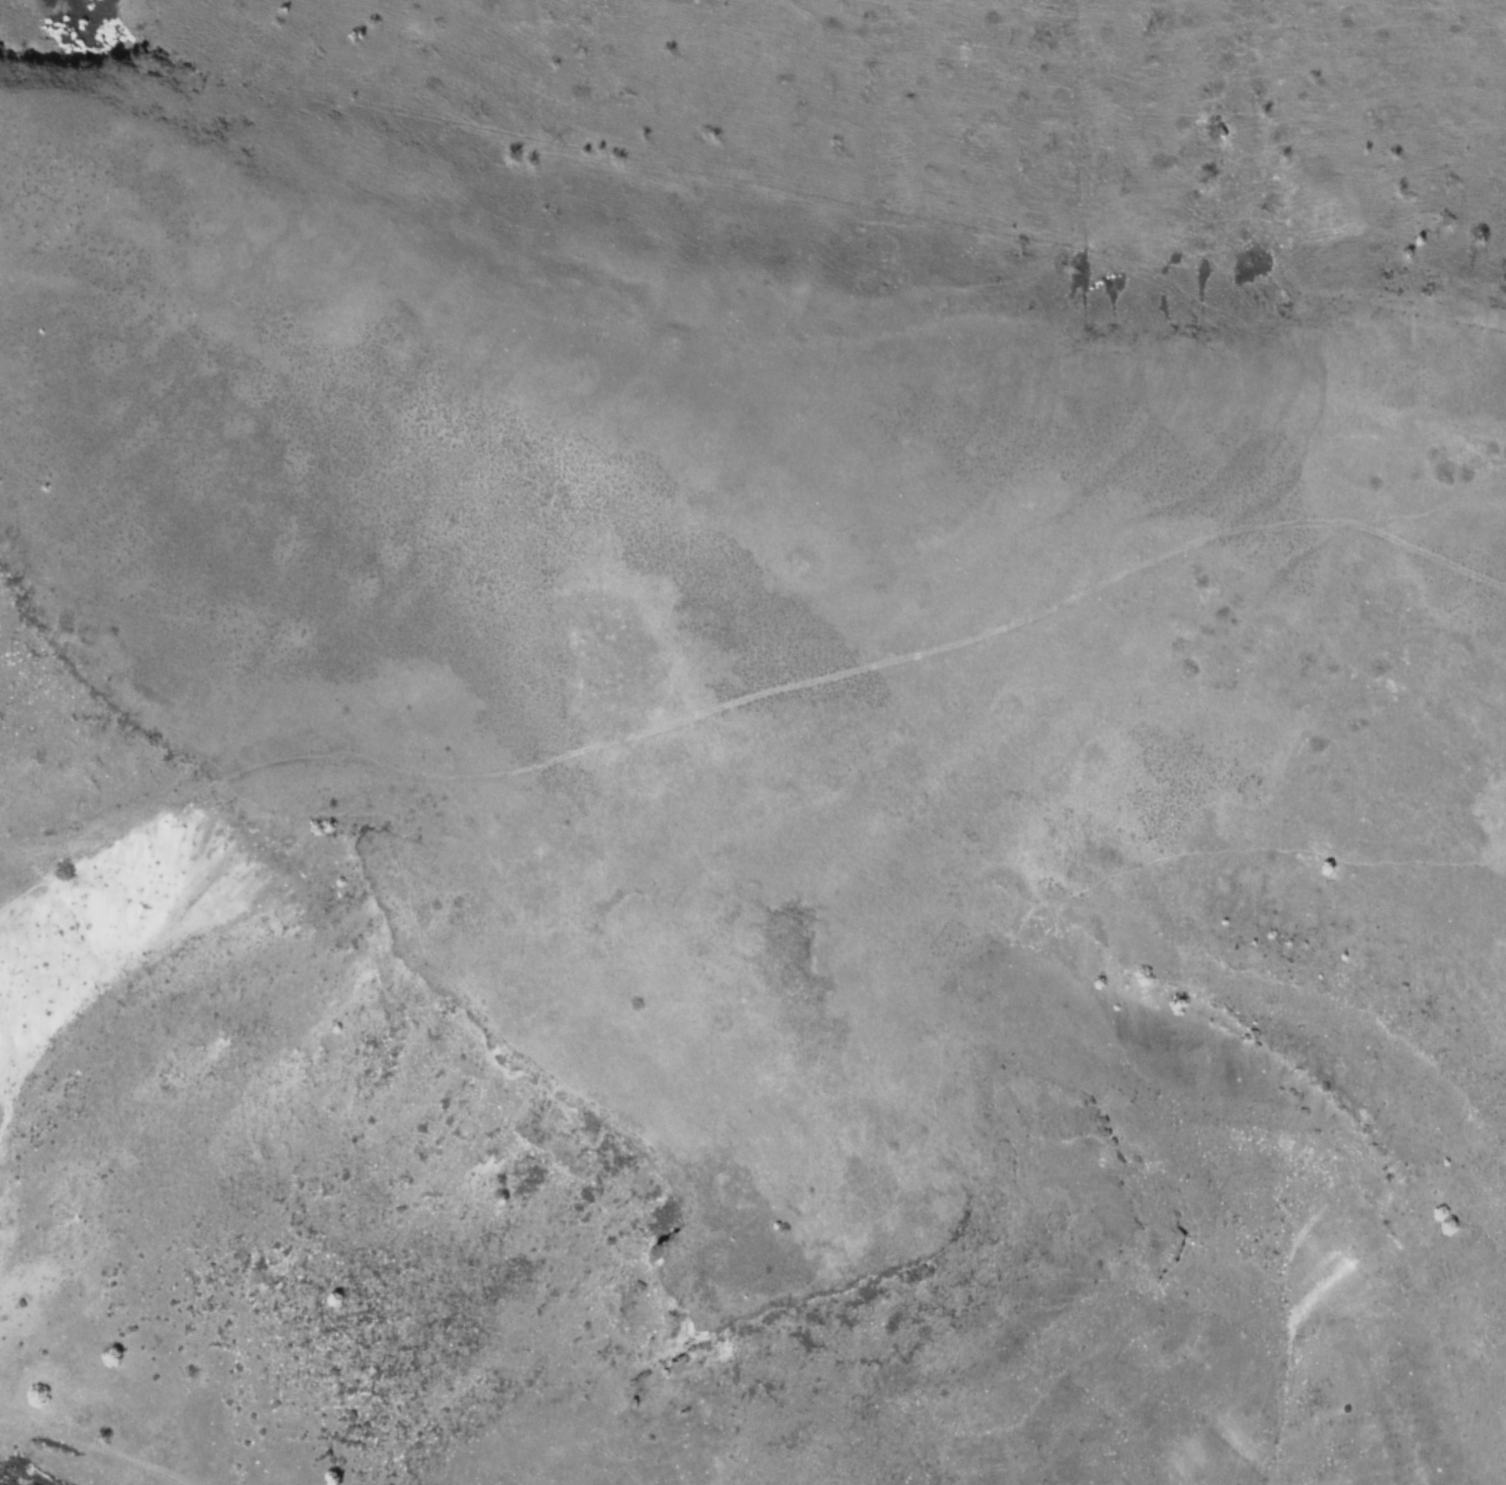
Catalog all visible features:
road: (742, 1262)
road: (86, 1443)

